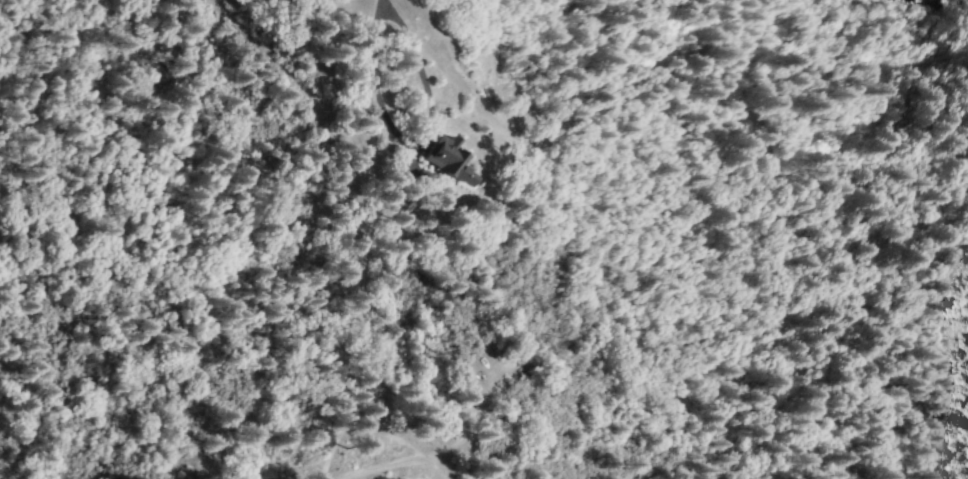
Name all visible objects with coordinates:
building: (447, 160)

